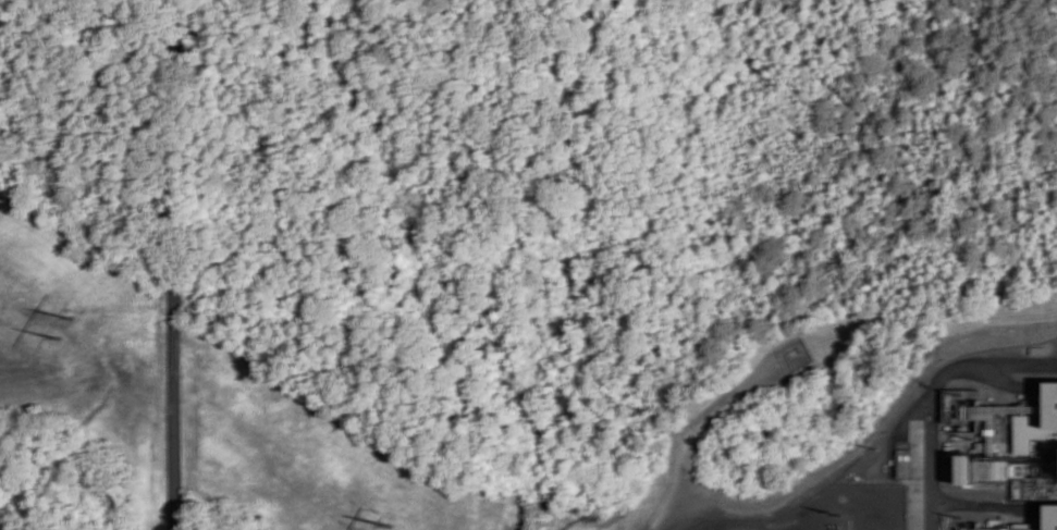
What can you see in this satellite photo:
road: (173, 155)
power tower: (71, 326)
road: (934, 393)
building: (1052, 404)
building: (967, 405)
road: (174, 420)
building: (1031, 430)
power plant: (954, 454)
building: (1008, 469)
power substation: (838, 510)

